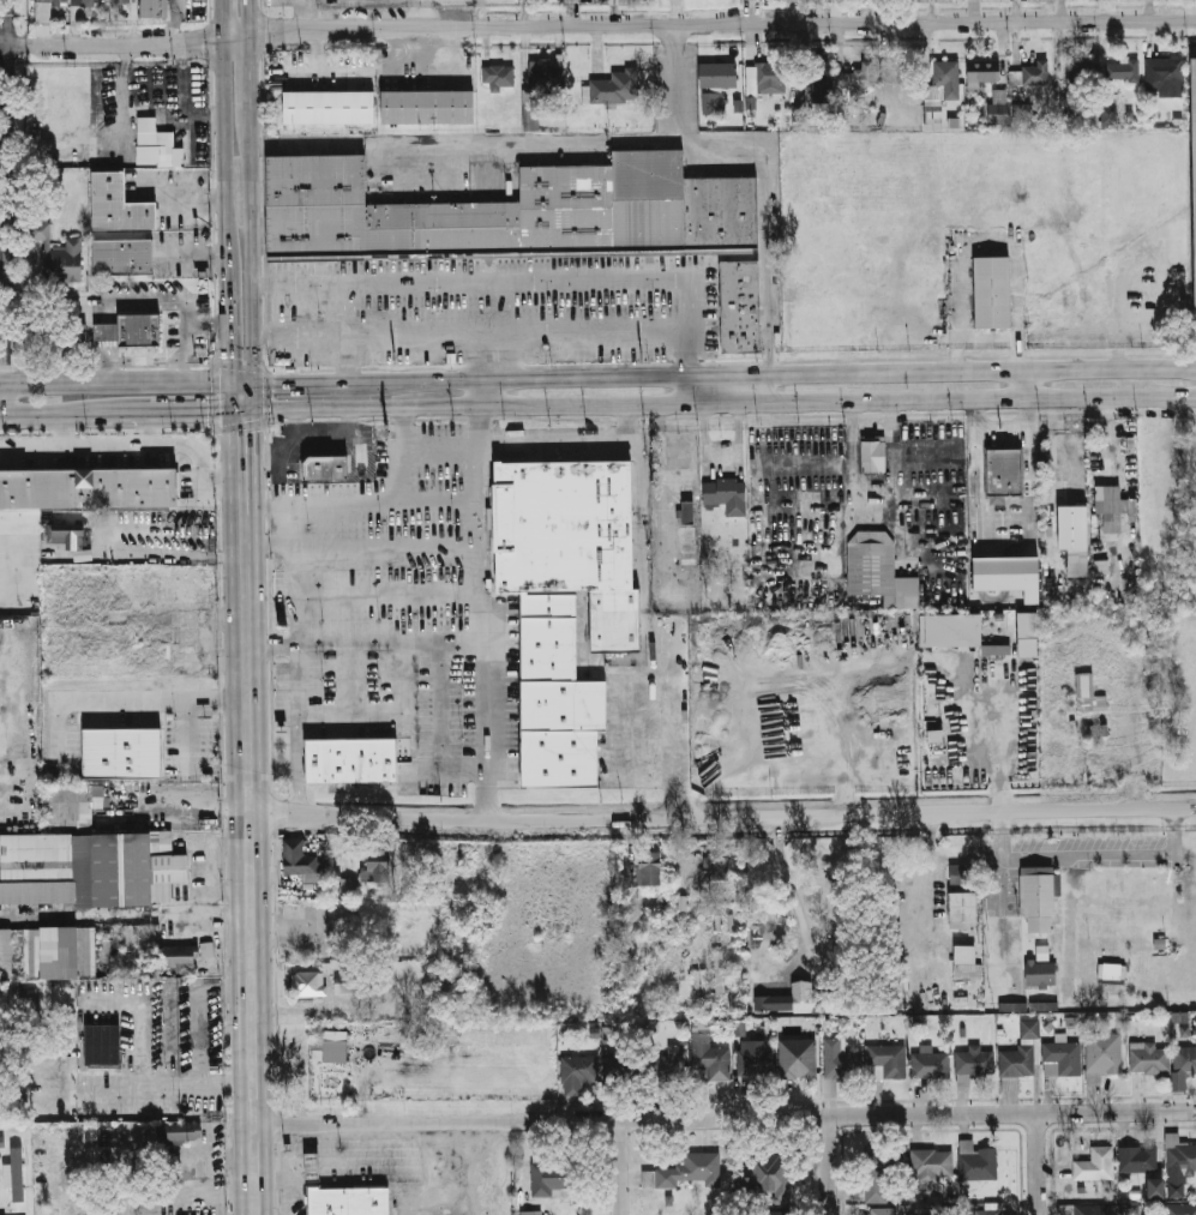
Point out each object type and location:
building: (121, 2)
road: (288, 2)
building: (154, 8)
road: (306, 11)
building: (43, 13)
road: (248, 19)
road: (222, 20)
road: (709, 24)
road: (4, 35)
road: (678, 35)
parking lot: (1, 37)
road: (18, 46)
road: (126, 46)
building: (1081, 68)
building: (1122, 70)
road: (160, 72)
building: (981, 72)
building: (1034, 72)
building: (1162, 72)
building: (818, 73)
road: (248, 74)
building: (499, 76)
building: (546, 76)
building: (719, 76)
building: (858, 76)
building: (770, 79)
building: (943, 82)
building: (617, 86)
road: (677, 91)
building: (714, 103)
building: (428, 107)
building: (998, 107)
building: (330, 108)
building: (840, 108)
road: (143, 110)
building: (1021, 112)
building: (529, 113)
building: (1107, 115)
road: (223, 137)
road: (507, 139)
building: (155, 144)
building: (1194, 174)
road: (6, 192)
building: (120, 204)
building: (511, 210)
road: (993, 240)
road: (2, 241)
road: (252, 243)
building: (59, 255)
road: (768, 255)
building: (125, 258)
road: (469, 279)
building: (992, 293)
road: (120, 301)
road: (227, 305)
building: (741, 305)
road: (507, 306)
road: (686, 326)
building: (143, 330)
building: (107, 331)
road: (469, 332)
road: (188, 333)
road: (479, 355)
road: (507, 355)
traffic signals: (229, 356)
road: (350, 357)
road: (780, 373)
road: (241, 379)
traffic signals: (275, 380)
road: (308, 380)
road: (114, 381)
road: (770, 386)
road: (1024, 386)
road: (686, 387)
road: (479, 391)
road: (229, 396)
road: (723, 399)
road: (2, 401)
road: (253, 410)
road: (241, 411)
road: (163, 413)
traffic signals: (206, 413)
road: (79, 414)
road: (31, 416)
road: (348, 419)
road: (298, 420)
road: (234, 426)
road: (991, 427)
road: (149, 429)
road: (333, 429)
road: (62, 431)
traffic signals: (244, 432)
road: (509, 445)
road: (120, 446)
road: (720, 453)
building: (876, 455)
road: (259, 458)
road: (241, 468)
building: (329, 468)
building: (999, 473)
road: (481, 474)
road: (1029, 476)
road: (871, 481)
road: (661, 486)
building: (86, 487)
building: (727, 495)
road: (359, 500)
building: (1114, 507)
building: (689, 512)
building: (565, 527)
building: (66, 534)
building: (1074, 536)
building: (687, 537)
road: (176, 551)
road: (482, 563)
building: (879, 573)
building: (1008, 575)
building: (112, 619)
building: (618, 621)
road: (657, 628)
building: (949, 630)
building: (1027, 634)
road: (363, 643)
building: (994, 650)
road: (841, 660)
building: (1088, 693)
road: (138, 697)
building: (559, 698)
road: (348, 714)
building: (1130, 715)
road: (186, 732)
building: (124, 753)
building: (354, 760)
road: (298, 763)
road: (997, 796)
building: (91, 798)
road: (196, 805)
road: (693, 805)
road: (722, 817)
road: (251, 855)
building: (294, 856)
road: (1086, 858)
building: (648, 866)
building: (716, 866)
building: (91, 870)
building: (375, 871)
building: (961, 872)
road: (1000, 883)
road: (789, 886)
road: (230, 888)
building: (1038, 896)
road: (210, 904)
building: (962, 910)
road: (230, 913)
building: (206, 949)
building: (48, 954)
building: (178, 955)
building: (966, 963)
building: (1040, 968)
building: (1110, 970)
building: (719, 973)
building: (326, 984)
building: (787, 999)
building: (1012, 1006)
building: (1042, 1006)
building: (1195, 1028)
road: (137, 1041)
building: (481, 1042)
building: (104, 1047)
building: (332, 1048)
building: (708, 1053)
building: (1022, 1053)
building: (1102, 1054)
building: (798, 1058)
building: (1149, 1058)
building: (1063, 1059)
building: (1185, 1059)
building: (840, 1060)
building: (885, 1061)
building: (974, 1061)
building: (667, 1063)
building: (755, 1063)
building: (931, 1065)
building: (623, 1067)
building: (576, 1075)
road: (217, 1083)
building: (829, 1087)
road: (725, 1117)
building: (184, 1132)
building: (1, 1142)
building: (1, 1149)
building: (1179, 1155)
building: (1138, 1159)
parking lot: (379, 1161)
building: (978, 1161)
road: (1040, 1163)
road: (830, 1165)
building: (931, 1165)
building: (1095, 1165)
building: (311, 1166)
gas station: (311, 1166)
road: (623, 1166)
building: (693, 1167)
building: (198, 1168)
road: (446, 1168)
building: (17, 1172)
building: (769, 1173)
building: (553, 1174)
building: (881, 1174)
road: (287, 1177)
building: (653, 1178)
building: (1155, 1187)
road: (209, 1197)
building: (351, 1202)
building: (1086, 1209)
building: (1180, 1209)
building: (16, 1211)
building: (884, 1211)
building: (530, 1213)
building: (984, 1213)
building: (770, 1214)

